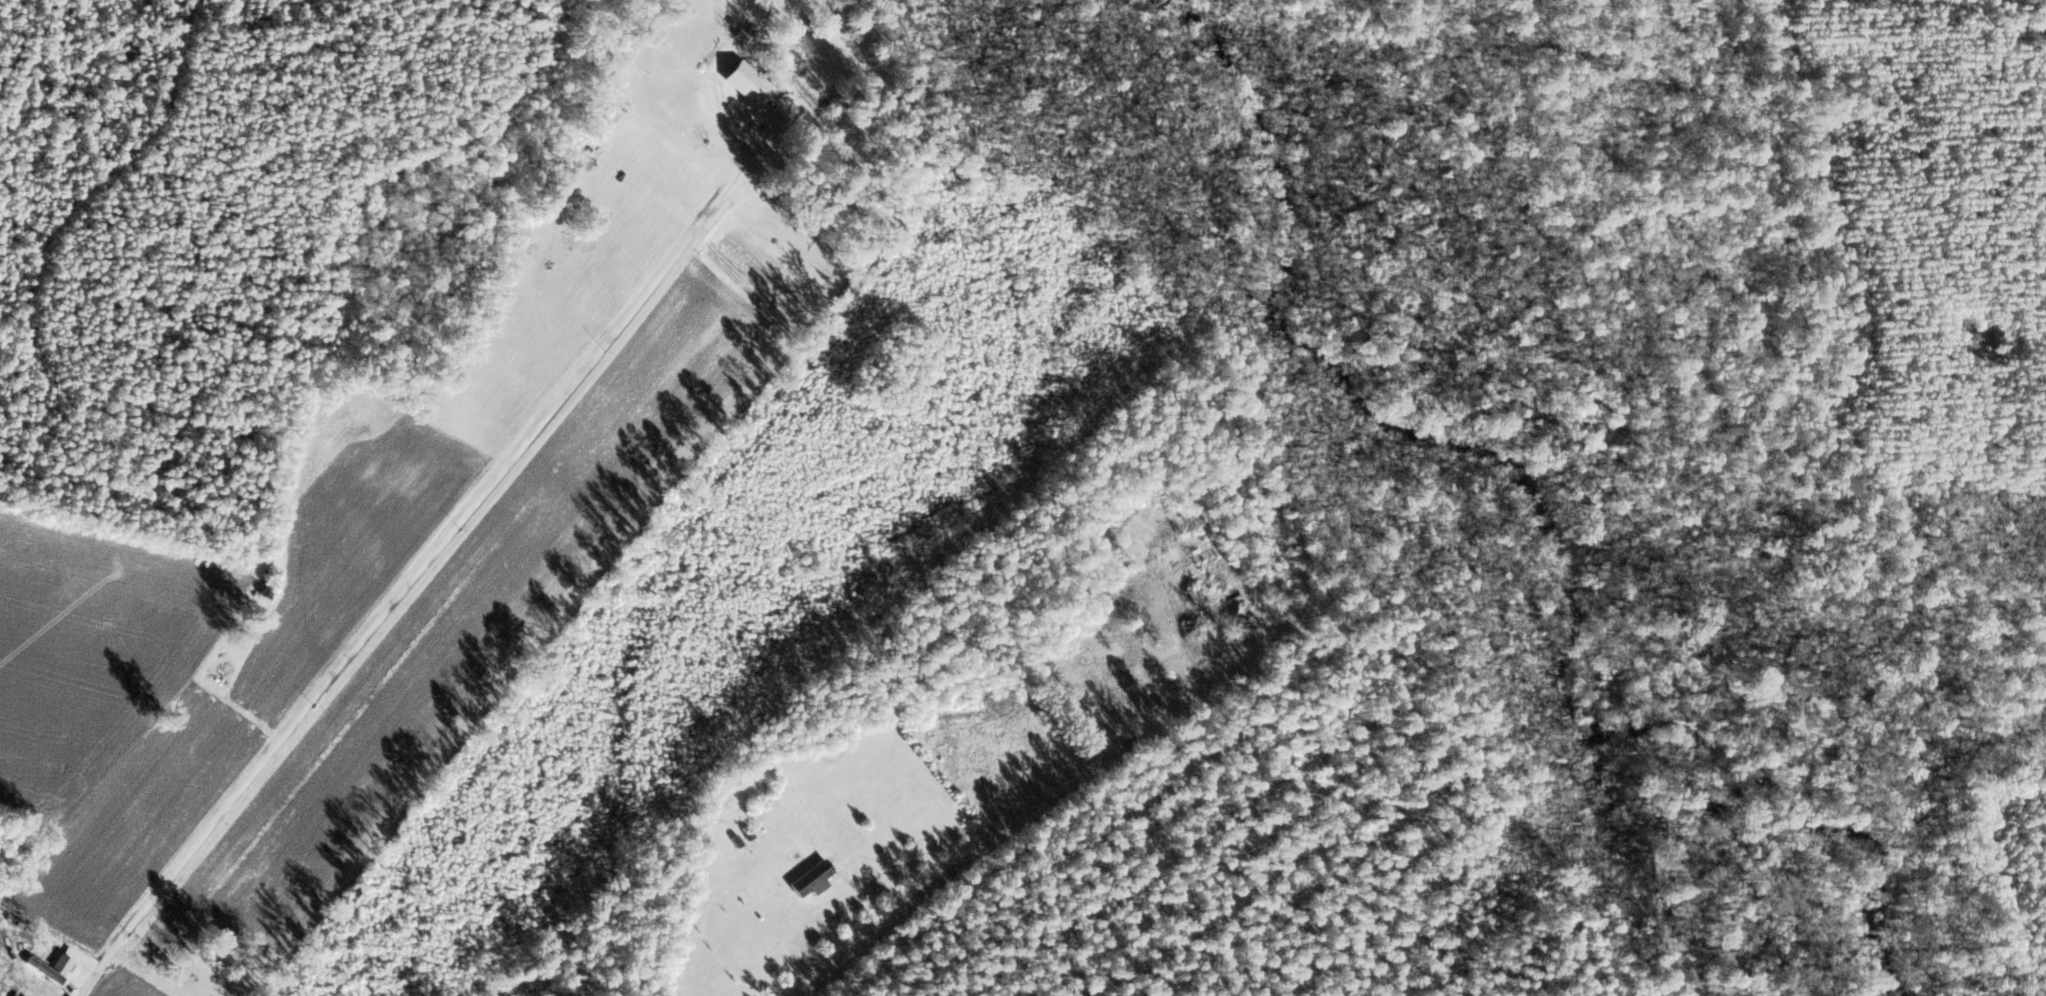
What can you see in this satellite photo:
road: (2045, 0)
building: (747, 83)
building: (587, 162)
building: (1219, 579)
building: (1197, 596)
building: (1200, 654)
building: (813, 879)
building: (63, 964)

